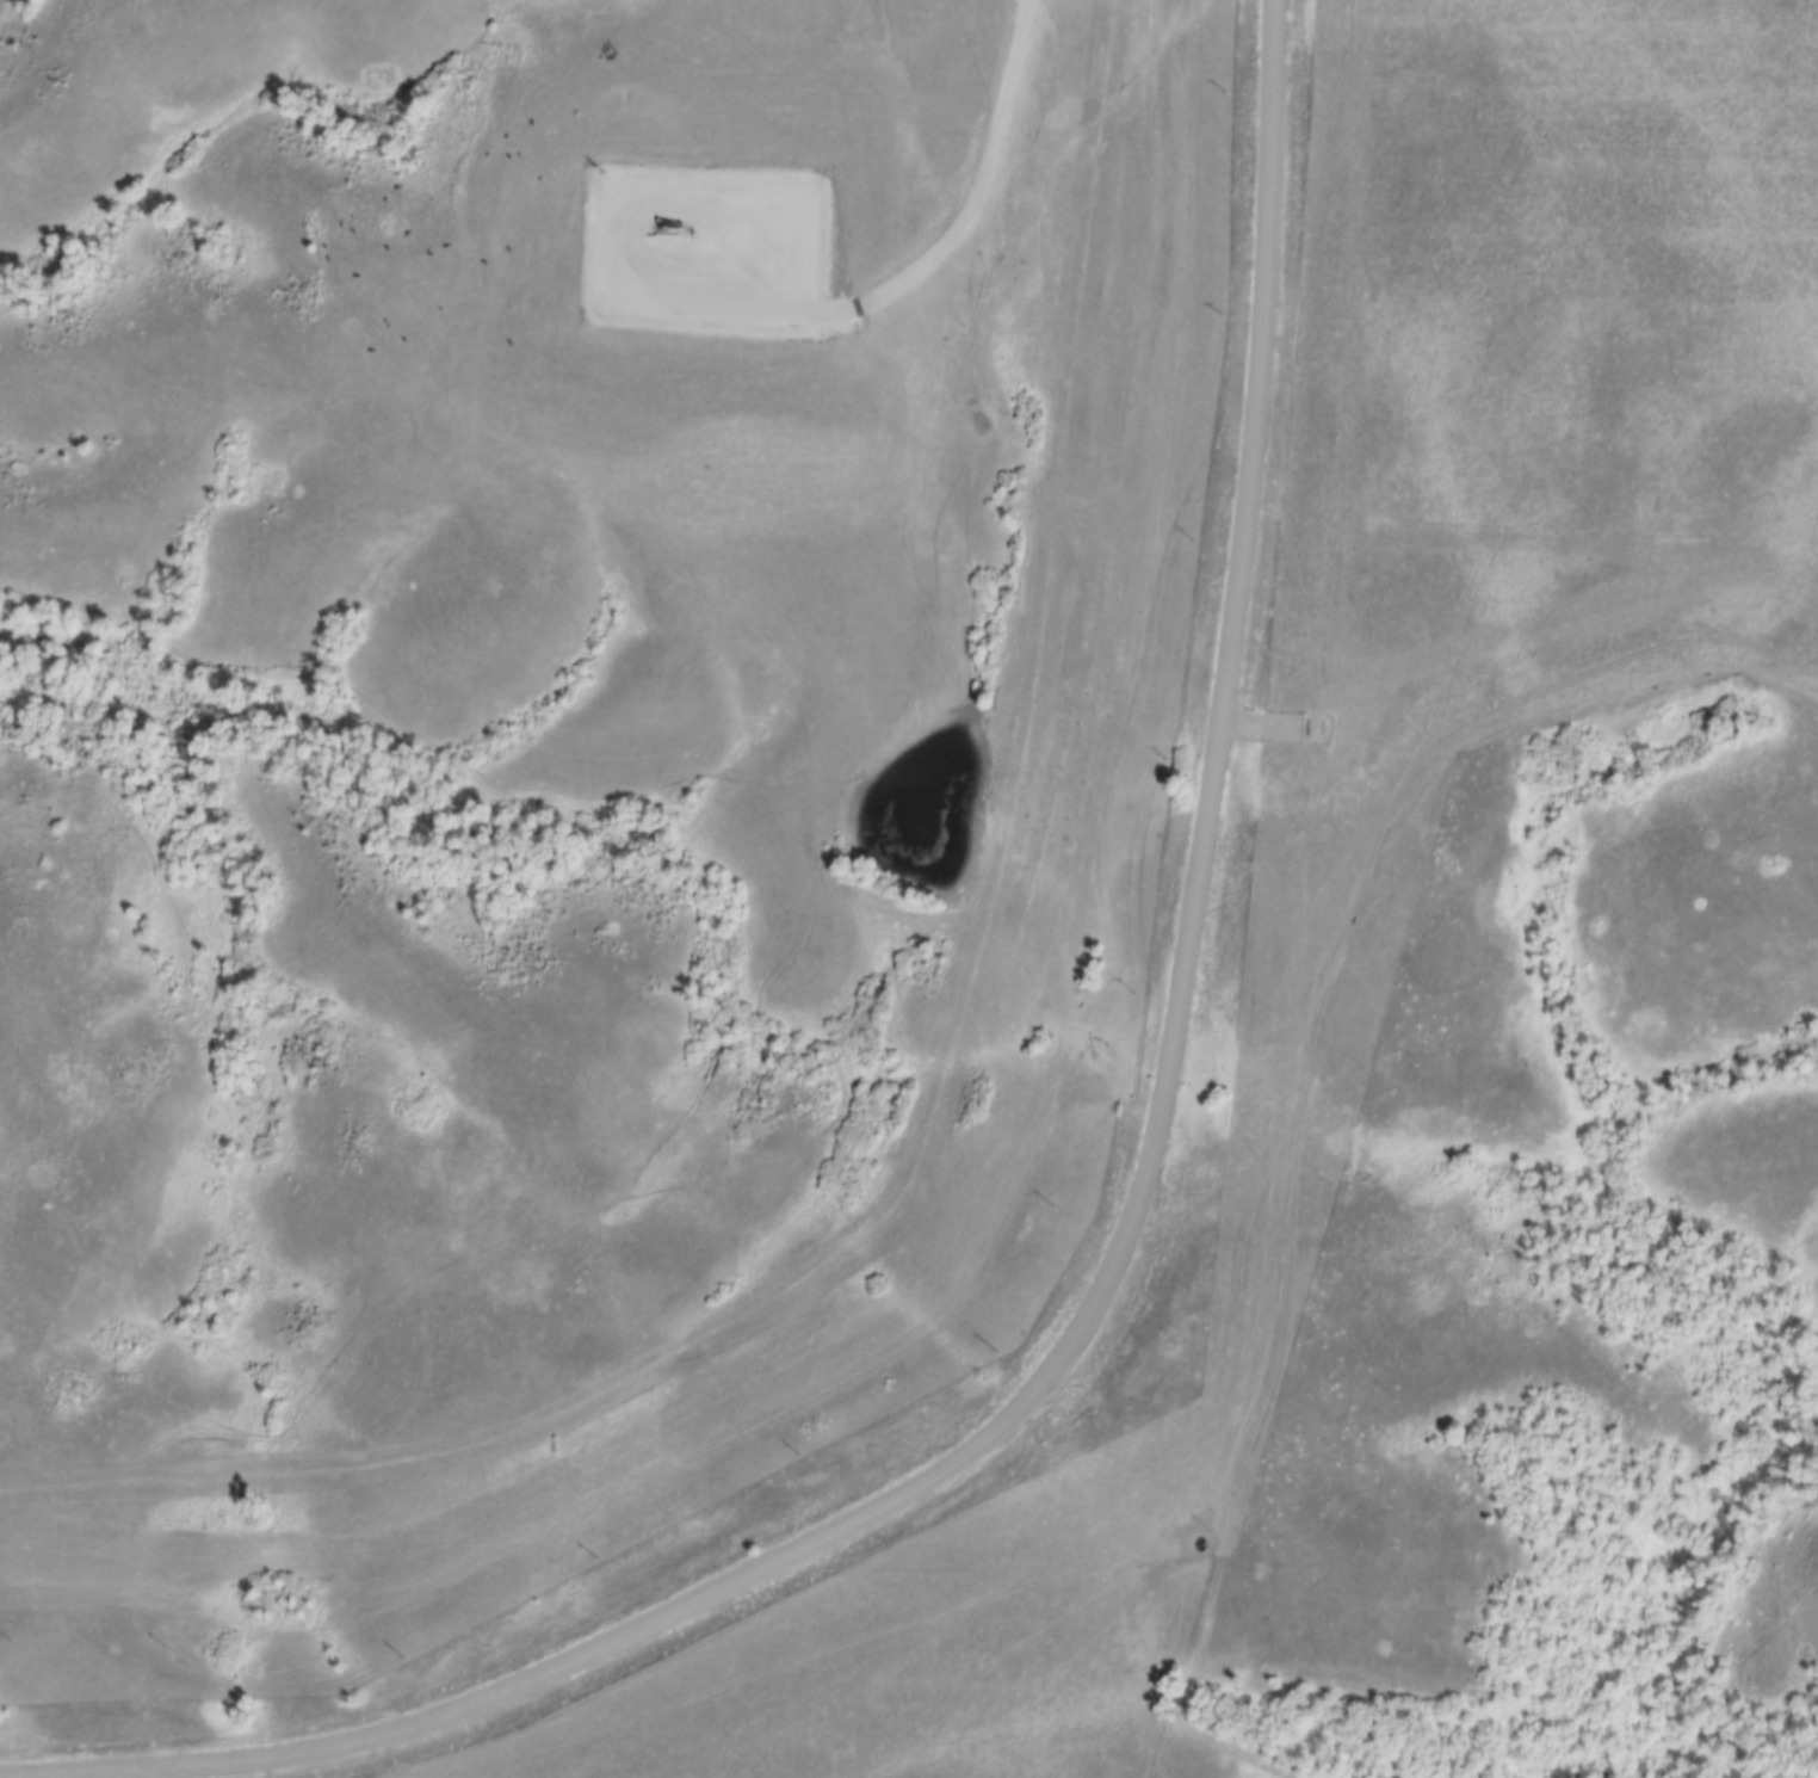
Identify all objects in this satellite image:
road: (1119, 1267)

